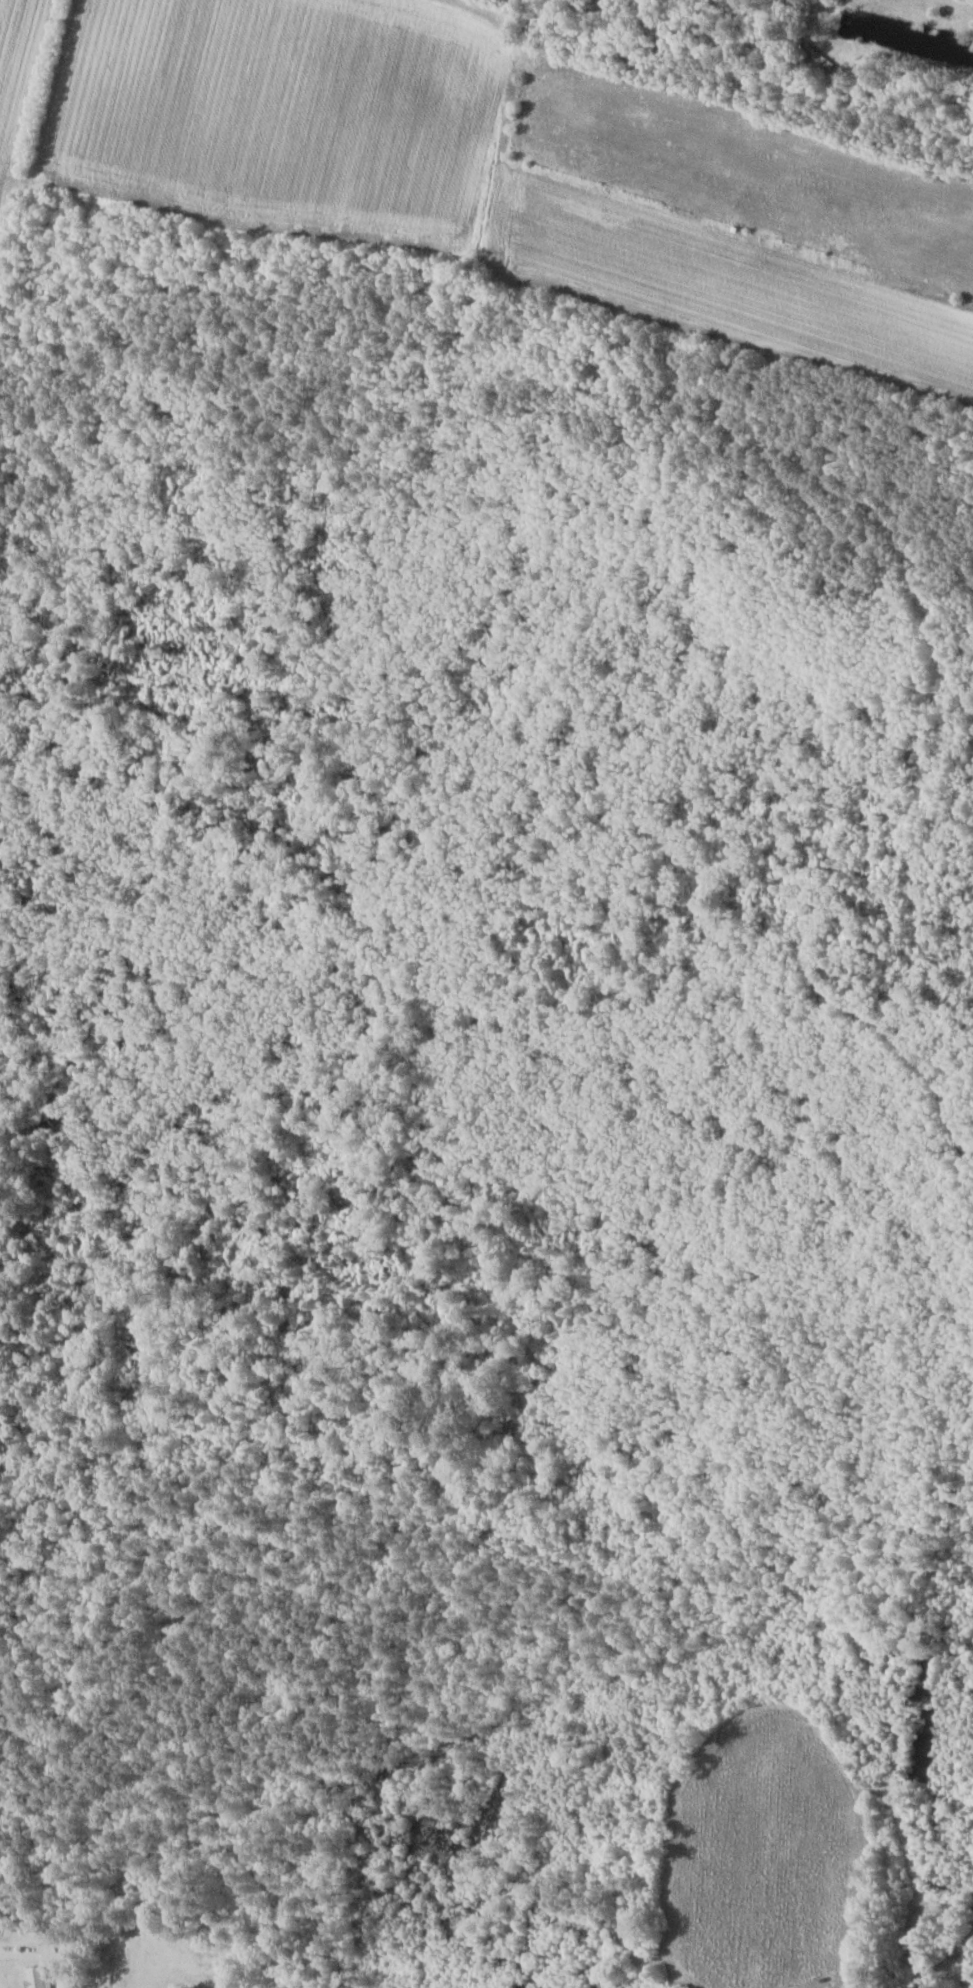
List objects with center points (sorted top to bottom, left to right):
building: (41, 1977)

